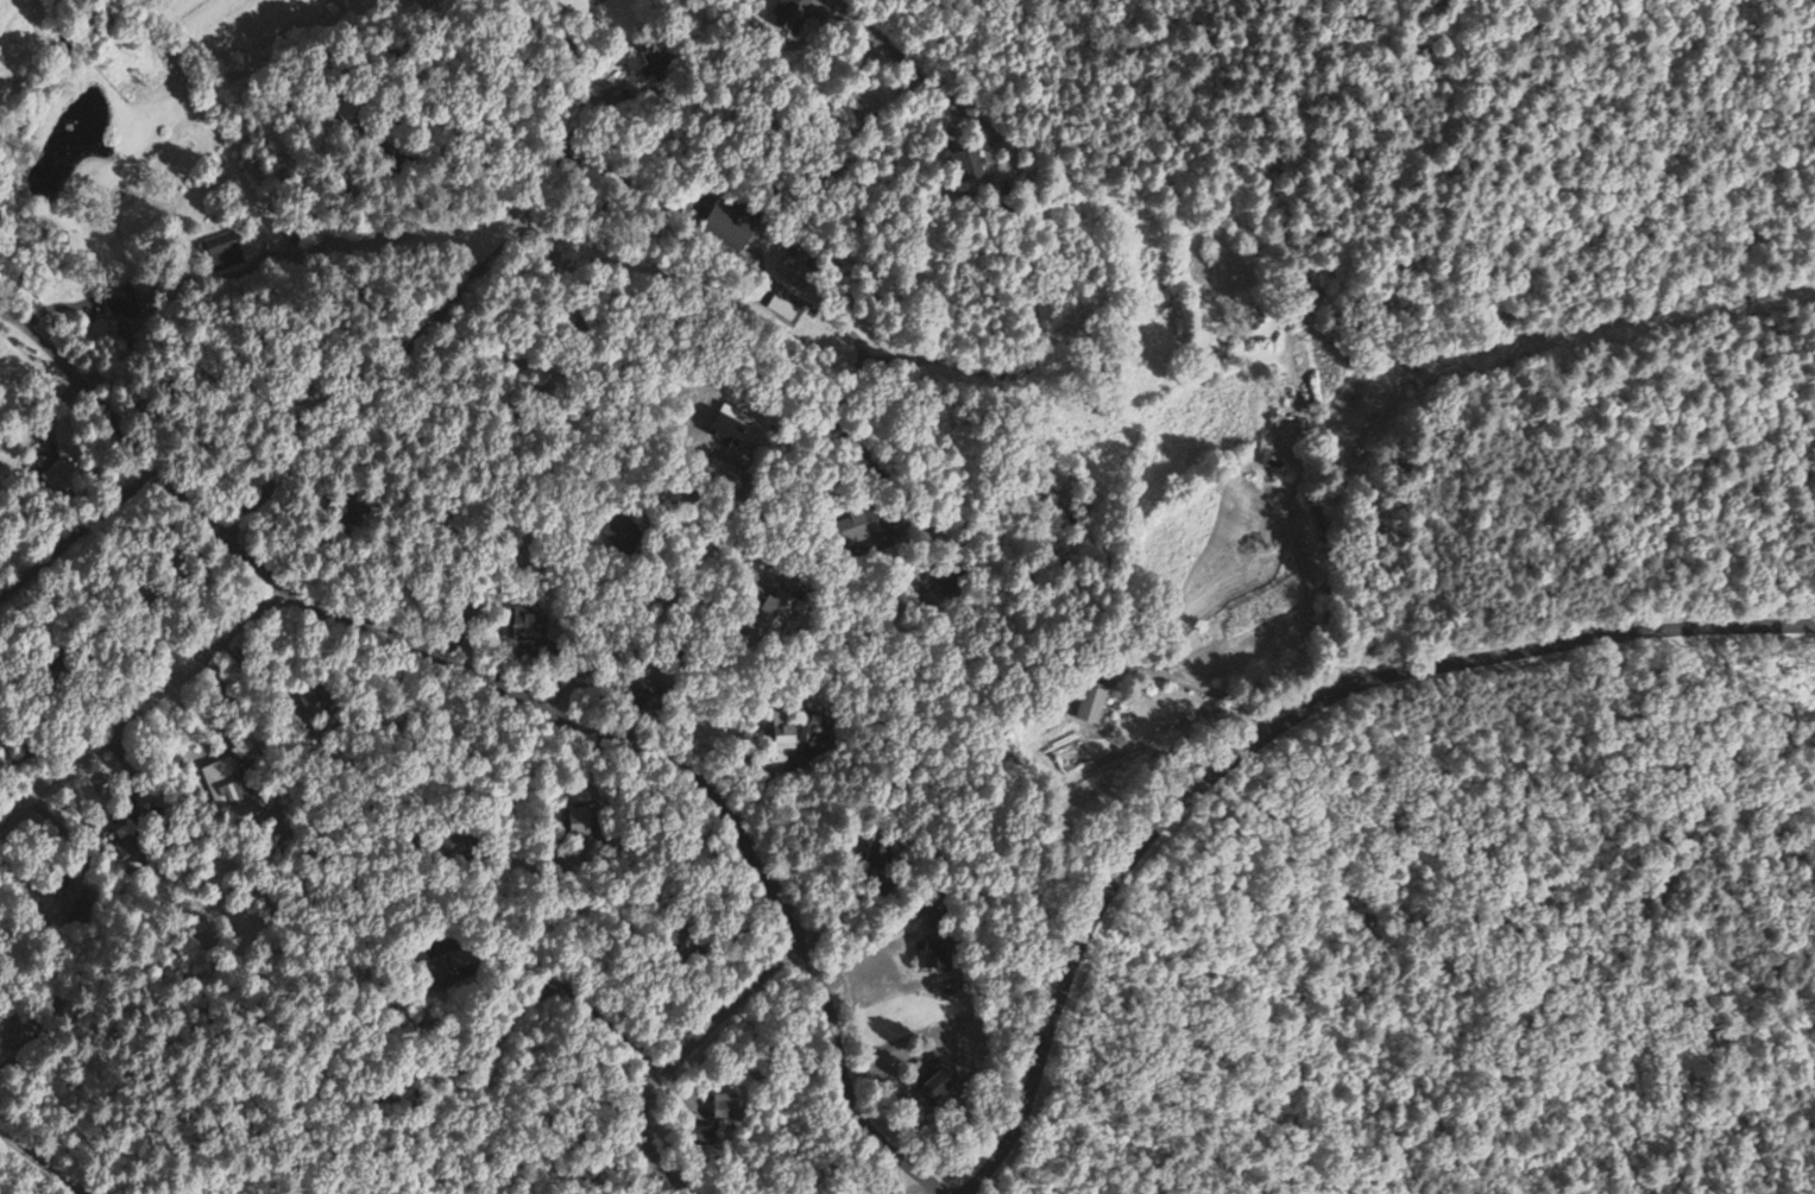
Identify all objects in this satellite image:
building: (786, 14)
building: (649, 64)
building: (862, 100)
building: (964, 164)
building: (725, 223)
building: (221, 251)
road: (232, 261)
building: (788, 267)
road: (953, 371)
building: (1281, 442)
building: (345, 516)
road: (73, 530)
building: (617, 531)
road: (1784, 570)
building: (771, 612)
building: (525, 625)
road: (541, 695)
building: (644, 696)
building: (1090, 703)
road: (139, 705)
building: (773, 728)
road: (1263, 732)
road: (836, 750)
building: (124, 852)
building: (871, 853)
building: (932, 942)
road: (572, 991)
building: (18, 1032)
road: (676, 1053)
building: (935, 1084)
building: (720, 1107)
road: (36, 1160)

